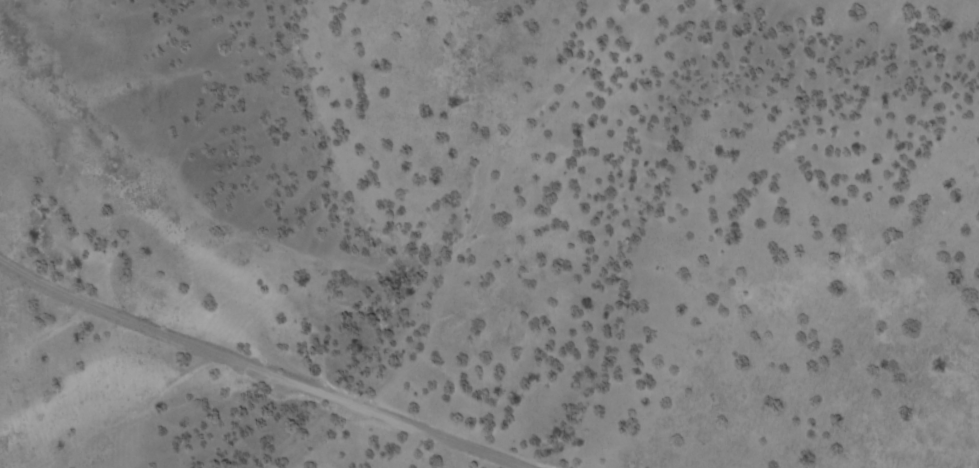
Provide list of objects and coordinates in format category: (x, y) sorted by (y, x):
road: (255, 382)

